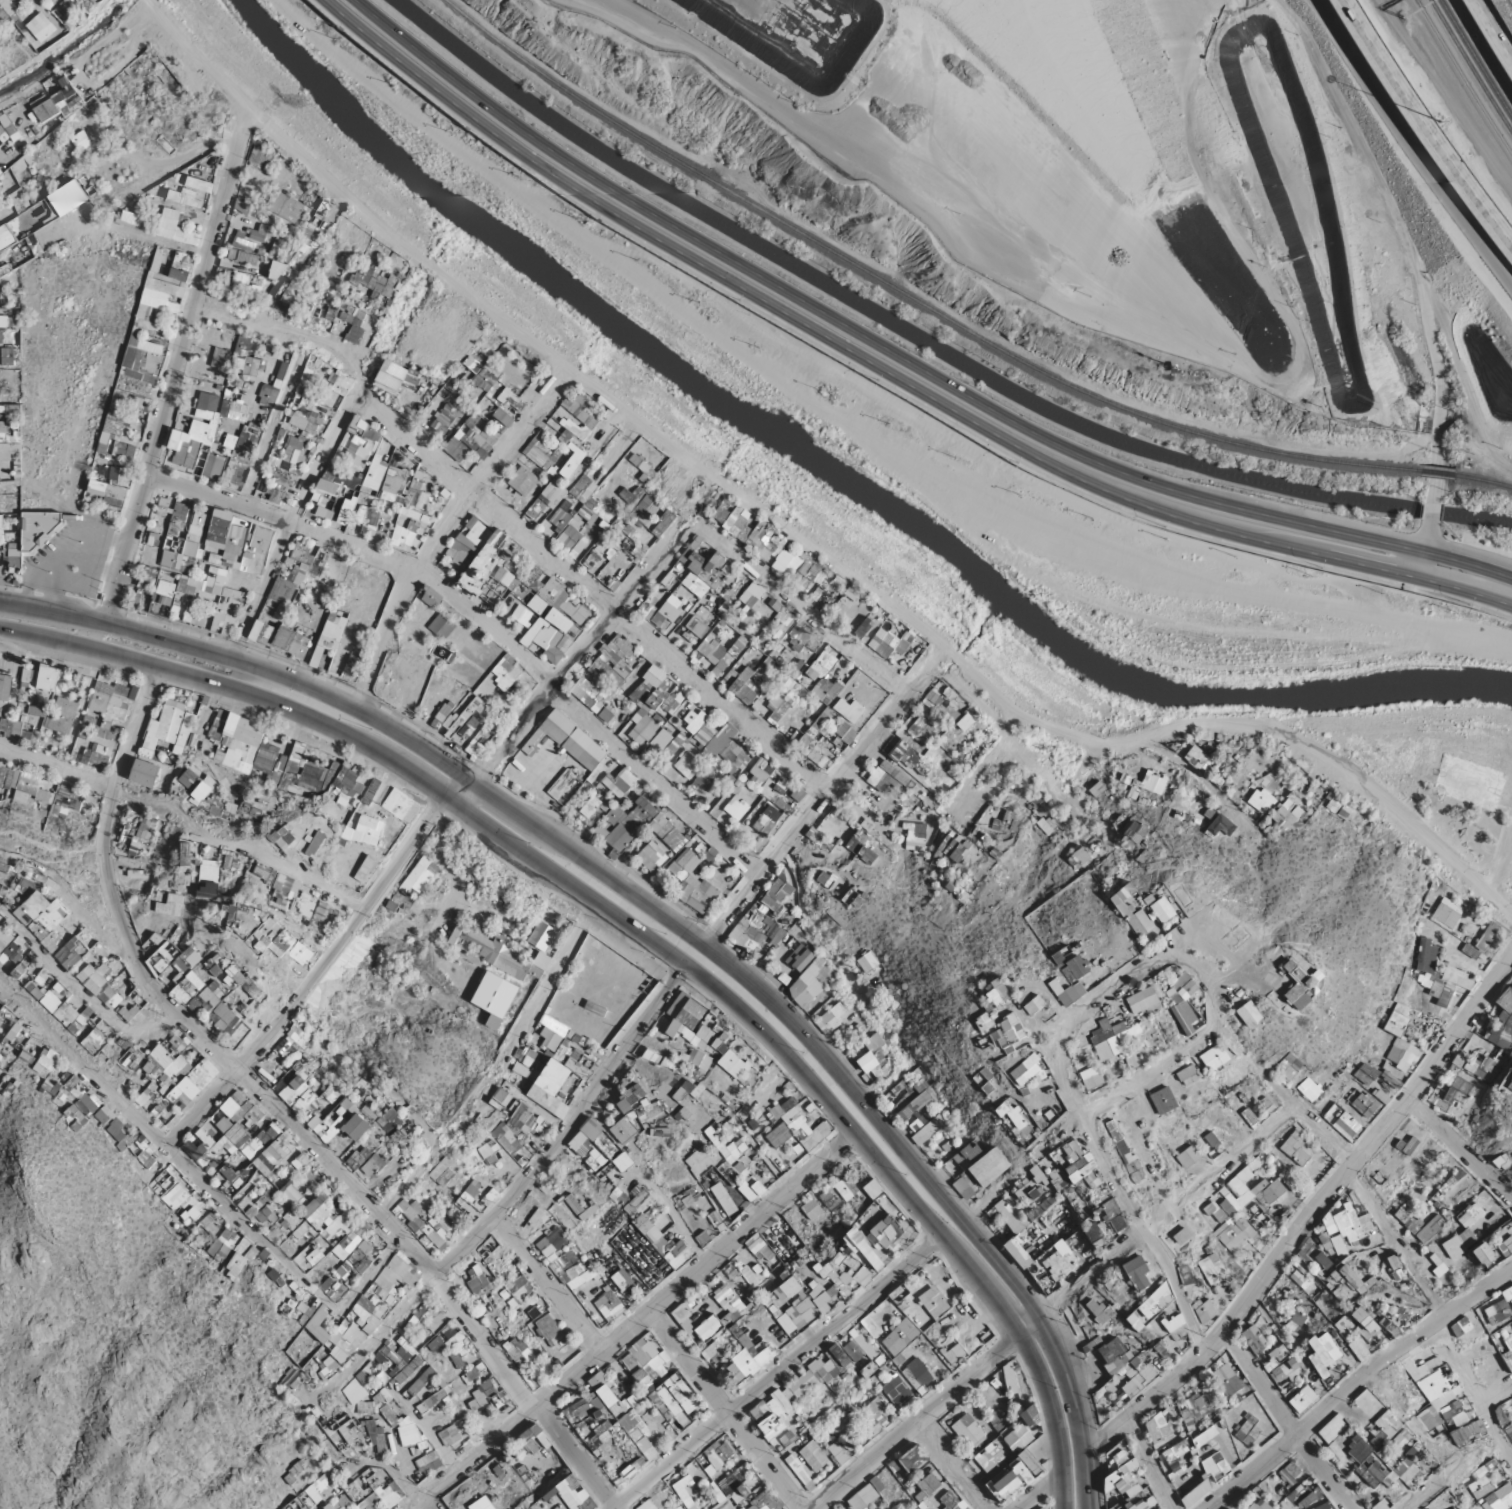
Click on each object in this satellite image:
railway: (955, 1)
railway: (946, 9)
railway: (986, 14)
road: (1498, 23)
railway: (1009, 37)
railway: (1113, 41)
railway: (999, 51)
railway: (1013, 54)
railway: (1473, 59)
railway: (1468, 68)
railway: (1088, 71)
railway: (1017, 78)
railway: (1461, 78)
railway: (1058, 111)
road: (1431, 120)
road: (200, 149)
road: (140, 160)
railway: (721, 186)
railway: (1358, 198)
road: (157, 239)
road: (1403, 239)
road: (1117, 323)
road: (281, 331)
road: (900, 358)
road: (175, 366)
road: (885, 371)
railway: (1439, 413)
road: (270, 423)
building: (9, 434)
railway: (1208, 437)
road: (661, 440)
building: (108, 441)
railway: (1480, 450)
river: (823, 473)
railway: (1438, 473)
railway: (1484, 480)
road: (1431, 509)
road: (293, 512)
road: (443, 529)
road: (799, 536)
road: (1426, 536)
building: (195, 560)
road: (1420, 565)
road: (590, 590)
road: (801, 609)
road: (483, 620)
building: (266, 633)
building: (327, 637)
building: (48, 677)
road: (997, 706)
road: (1003, 742)
building: (165, 759)
building: (248, 760)
road: (1028, 768)
road: (1208, 782)
building: (1158, 785)
road: (820, 791)
building: (43, 794)
road: (1383, 808)
road: (437, 809)
road: (588, 861)
building: (210, 873)
road: (454, 903)
building: (1161, 905)
building: (1447, 915)
road: (1221, 972)
building: (505, 978)
road: (1119, 988)
road: (712, 991)
road: (538, 1004)
building: (1249, 1010)
building: (1107, 1046)
building: (1211, 1058)
building: (175, 1059)
building: (1092, 1075)
road: (768, 1087)
road: (1079, 1116)
building: (507, 1137)
road: (1139, 1153)
road: (1457, 1154)
road: (1235, 1158)
road: (521, 1186)
road: (1366, 1199)
road: (1124, 1200)
road: (1310, 1213)
building: (1343, 1224)
road: (674, 1225)
building: (885, 1230)
road: (636, 1325)
building: (1293, 1366)
road: (975, 1372)
road: (771, 1373)
road: (1351, 1378)
road: (1493, 1392)
building: (1306, 1393)
road: (1076, 1411)
building: (1388, 1421)
road: (1281, 1422)
building: (1164, 1430)
building: (1360, 1457)
road: (1145, 1462)
road: (947, 1465)
road: (1038, 1491)
road: (1416, 1500)
building: (1143, 1501)

